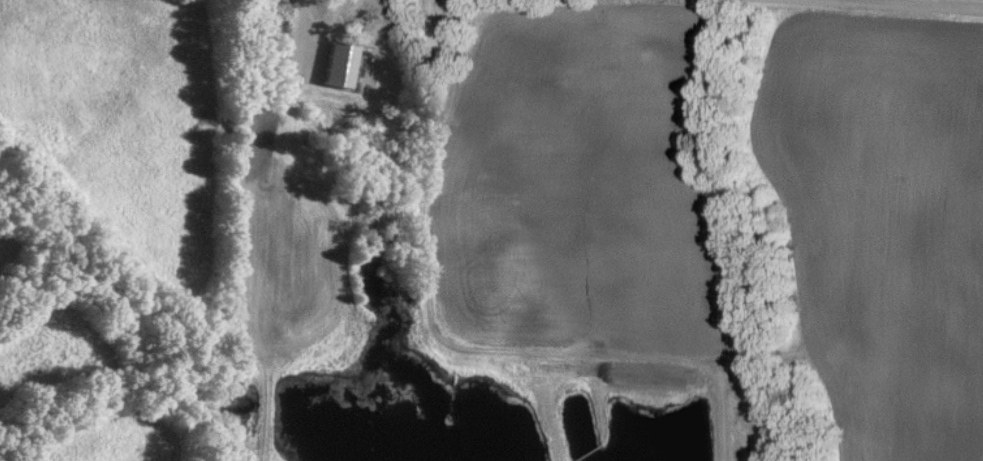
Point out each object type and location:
road: (948, 0)
road: (951, 1)
building: (371, 14)

